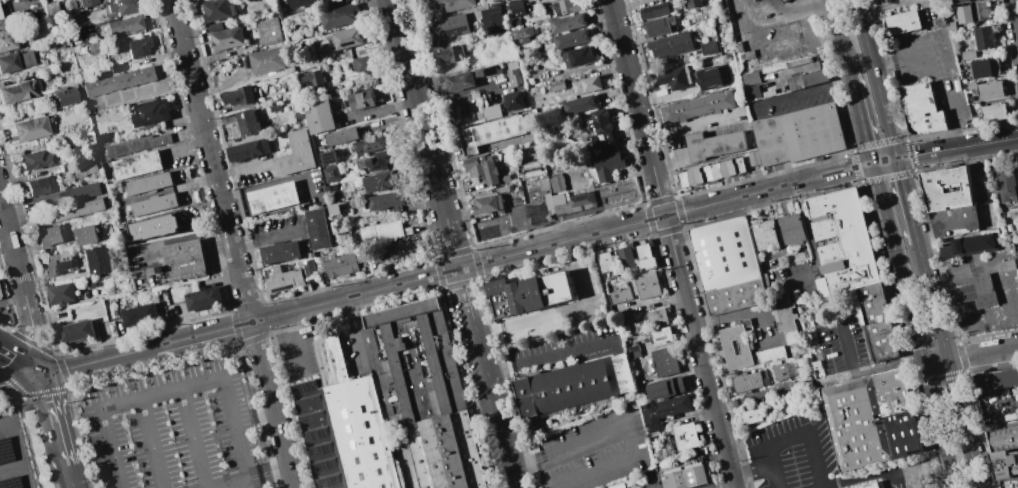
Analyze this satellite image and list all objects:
building: (17, 0)
building: (103, 0)
building: (538, 0)
building: (783, 1)
building: (962, 1)
building: (87, 2)
building: (298, 2)
rooftop solar panel: (308, 2)
building: (693, 3)
building: (448, 4)
building: (123, 6)
road: (887, 6)
building: (515, 7)
building: (564, 7)
building: (50, 9)
building: (217, 9)
building: (655, 10)
building: (982, 10)
road: (926, 11)
building: (964, 14)
building: (338, 16)
building: (0, 17)
building: (492, 18)
road: (1014, 20)
building: (902, 22)
building: (515, 23)
building: (567, 23)
building: (125, 24)
building: (449, 25)
building: (215, 26)
building: (659, 26)
rooftop solar panel: (453, 30)
building: (269, 31)
building: (522, 32)
road: (838, 37)
building: (983, 37)
building: (226, 38)
building: (347, 38)
building: (571, 38)
building: (6, 39)
building: (670, 44)
building: (95, 46)
building: (138, 47)
building: (708, 48)
building: (450, 53)
building: (968, 54)
road: (907, 55)
building: (579, 56)
building: (15, 61)
building: (265, 61)
building: (362, 63)
building: (116, 67)
building: (982, 68)
building: (485, 71)
parking lot: (934, 72)
building: (513, 76)
building: (750, 77)
building: (814, 77)
building: (674, 78)
building: (709, 78)
road: (877, 79)
building: (118, 81)
building: (311, 81)
building: (365, 81)
building: (459, 81)
building: (794, 82)
building: (555, 85)
building: (586, 85)
building: (987, 89)
building: (17, 91)
building: (751, 92)
road: (804, 94)
building: (240, 95)
building: (65, 97)
building: (360, 100)
building: (512, 100)
building: (579, 104)
building: (696, 106)
building: (274, 107)
building: (920, 108)
building: (460, 109)
building: (150, 112)
building: (491, 112)
building: (993, 112)
rooftop solar panel: (155, 115)
building: (298, 116)
building: (319, 117)
road: (859, 118)
road: (953, 120)
building: (247, 122)
road: (694, 125)
building: (30, 128)
building: (601, 129)
building: (490, 132)
road: (424, 134)
building: (342, 136)
building: (523, 137)
building: (803, 137)
building: (101, 138)
building: (371, 143)
building: (136, 144)
building: (714, 144)
building: (248, 150)
building: (295, 154)
building: (329, 157)
building: (753, 158)
traffic signals: (898, 158)
building: (36, 159)
road: (212, 160)
building: (375, 160)
traffic signals: (870, 163)
building: (607, 164)
building: (136, 165)
building: (482, 168)
road: (243, 169)
building: (86, 170)
building: (710, 171)
building: (331, 173)
building: (505, 178)
building: (381, 181)
building: (556, 182)
building: (149, 183)
building: (534, 185)
building: (1006, 185)
building: (38, 186)
building: (504, 188)
building: (946, 188)
building: (66, 194)
road: (736, 196)
building: (272, 197)
road: (907, 199)
building: (385, 200)
building: (582, 201)
building: (557, 202)
building: (488, 203)
building: (154, 204)
building: (334, 209)
building: (70, 211)
building: (953, 219)
building: (151, 227)
building: (317, 228)
building: (384, 230)
building: (783, 233)
building: (85, 234)
building: (49, 235)
road: (267, 238)
road: (812, 240)
building: (848, 240)
road: (672, 244)
building: (967, 245)
road: (14, 248)
building: (397, 251)
building: (279, 252)
building: (1017, 254)
building: (627, 257)
building: (647, 257)
building: (184, 259)
road: (921, 259)
building: (97, 260)
building: (374, 262)
building: (606, 262)
building: (58, 263)
building: (336, 264)
road: (897, 264)
building: (731, 265)
building: (1006, 265)
building: (308, 268)
road: (948, 271)
building: (161, 274)
building: (281, 278)
building: (90, 284)
building: (648, 285)
building: (558, 288)
building: (975, 291)
building: (61, 293)
road: (962, 294)
building: (528, 295)
building: (620, 296)
building: (202, 298)
building: (502, 298)
road: (467, 301)
building: (878, 303)
road: (553, 314)
building: (138, 315)
road: (741, 316)
building: (656, 317)
building: (785, 317)
road: (260, 319)
road: (937, 319)
building: (624, 326)
road: (971, 328)
building: (75, 331)
road: (355, 331)
road: (22, 333)
building: (662, 335)
rooftop solar panel: (661, 337)
road: (42, 338)
building: (887, 341)
road: (294, 343)
road: (846, 343)
building: (736, 348)
building: (797, 349)
building: (634, 352)
road: (982, 354)
building: (772, 355)
road: (545, 357)
road: (22, 360)
building: (332, 360)
building: (437, 360)
building: (666, 362)
road: (936, 363)
road: (867, 370)
road: (54, 372)
building: (780, 372)
traffic signals: (45, 375)
building: (995, 379)
road: (22, 380)
building: (748, 382)
road: (224, 383)
building: (573, 385)
rooftop solar panel: (306, 387)
building: (666, 388)
road: (763, 397)
road: (122, 403)
road: (273, 404)
building: (675, 405)
road: (495, 411)
building: (898, 413)
building: (650, 416)
building: (752, 416)
road: (57, 419)
building: (855, 423)
road: (964, 424)
road: (621, 425)
road: (939, 427)
road: (992, 427)
parking lot: (174, 429)
rooftop solar panel: (326, 434)
building: (348, 435)
rooftop solar panel: (315, 436)
building: (686, 436)
road: (794, 437)
road: (193, 438)
building: (1002, 439)
rooftop solar panel: (326, 448)
road: (18, 449)
rooftop solar panel: (311, 451)
building: (447, 452)
parking lot: (792, 453)
building: (1005, 463)
road: (11, 467)
rooftop solar panel: (325, 467)
road: (752, 471)
road: (72, 476)
road: (246, 476)
building: (688, 477)
road: (860, 478)
rooftop solar panel: (328, 481)
road: (247, 482)
building: (1008, 483)
road: (721, 485)
building: (869, 485)
building: (618, 486)
road: (648, 487)

